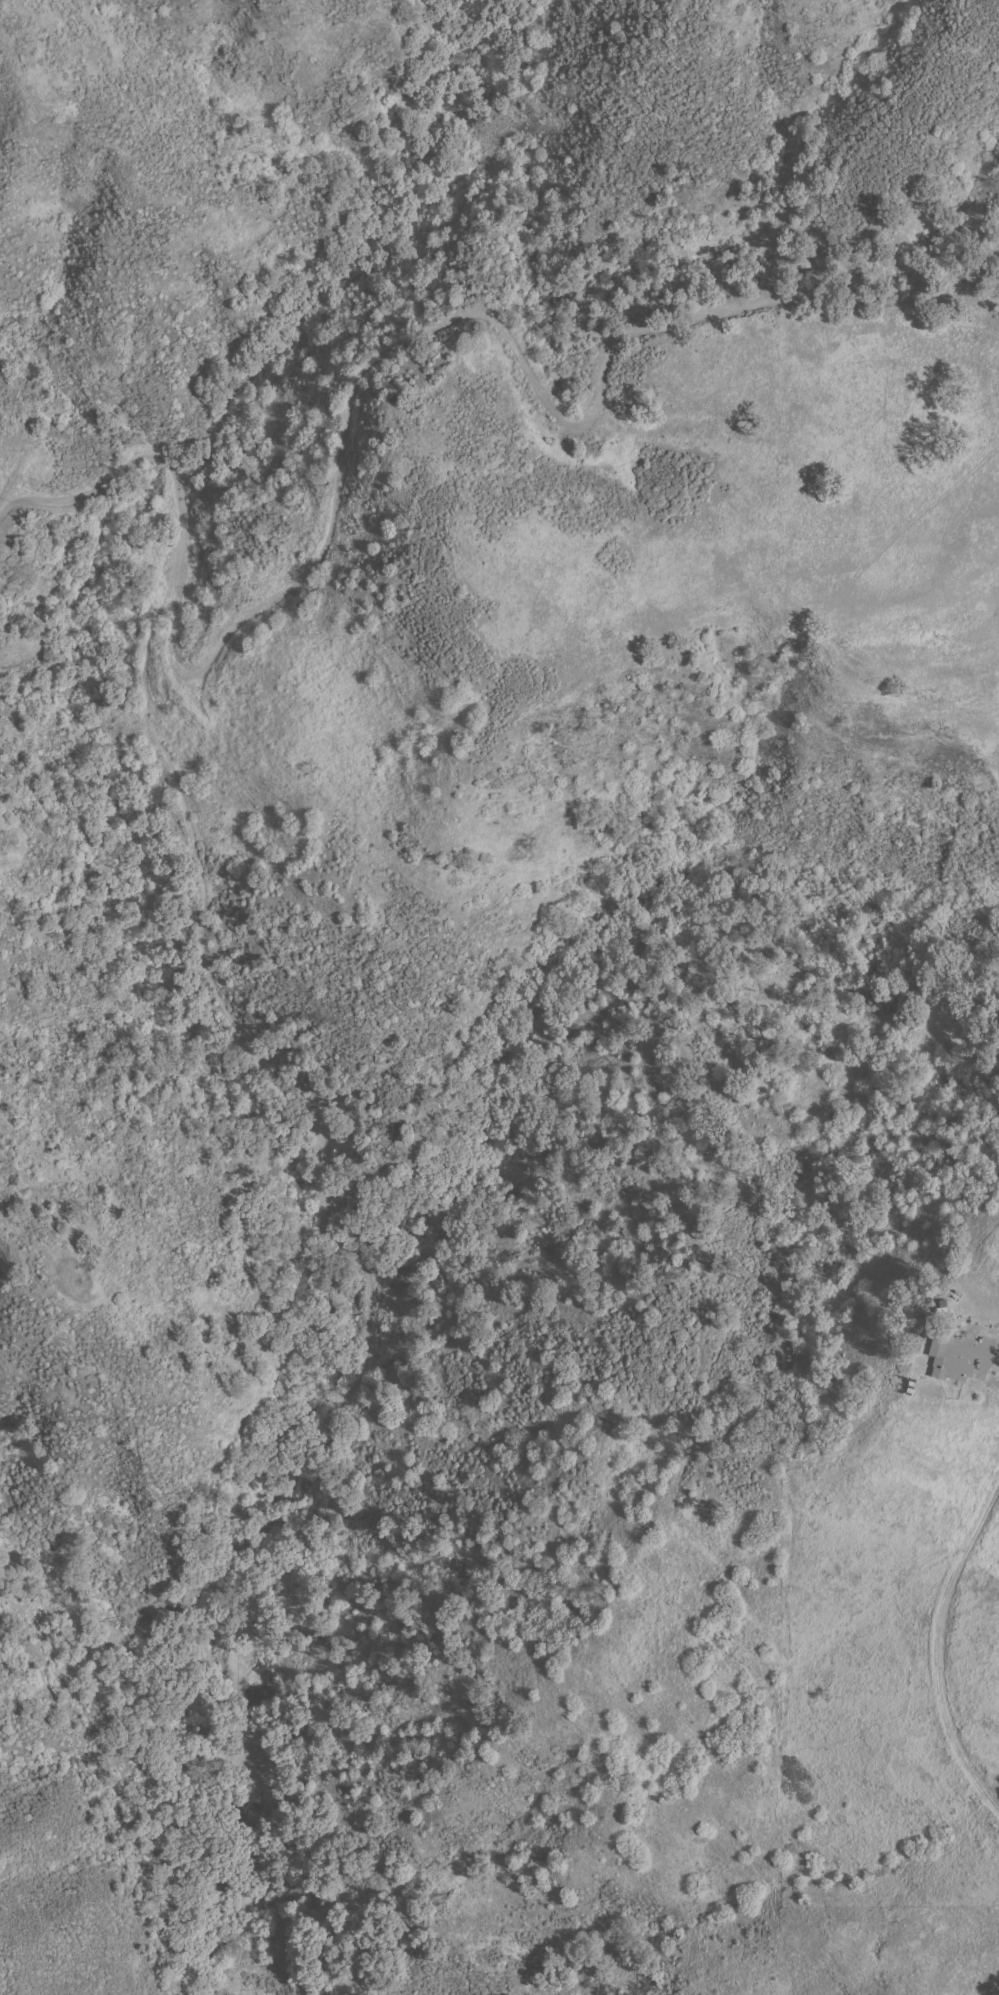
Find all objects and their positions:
road: (488, 316)
road: (131, 460)
road: (930, 502)
road: (360, 1275)
road: (976, 1353)
building: (946, 1363)
road: (935, 1645)

